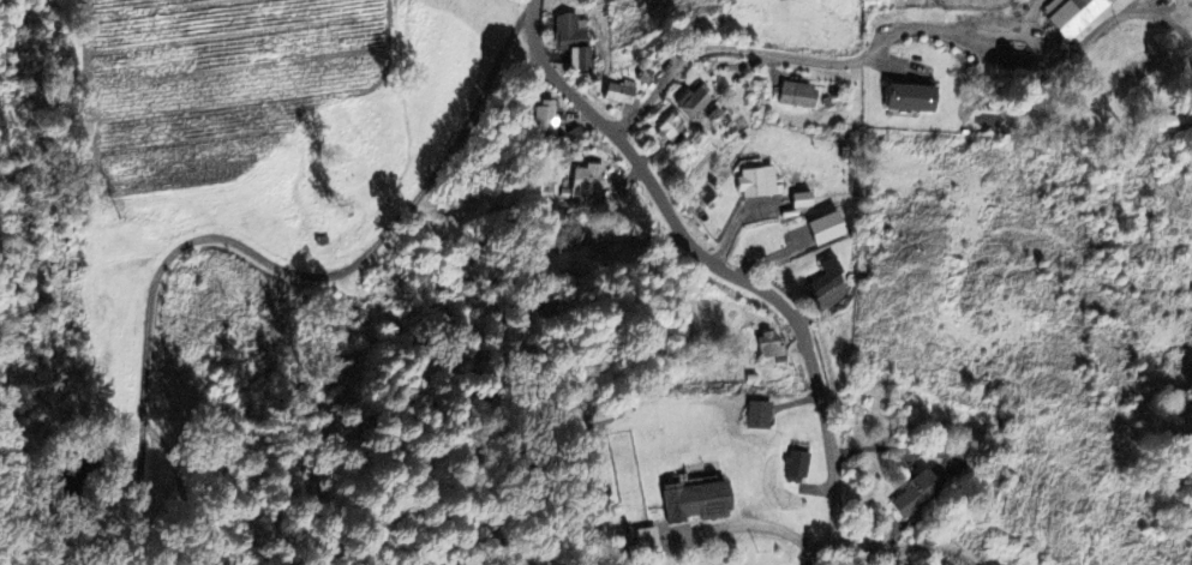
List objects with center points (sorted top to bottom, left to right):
building: (1073, 17)
road: (899, 30)
building: (619, 91)
building: (797, 94)
building: (906, 97)
building: (693, 102)
building: (549, 115)
building: (1175, 119)
building: (672, 128)
road: (445, 167)
building: (754, 181)
building: (587, 182)
building: (799, 199)
building: (826, 228)
road: (720, 265)
building: (823, 278)
building: (771, 344)
building: (759, 414)
building: (797, 467)
building: (916, 494)
building: (693, 500)
road: (749, 523)
building: (642, 543)
road: (918, 543)
road: (822, 546)

